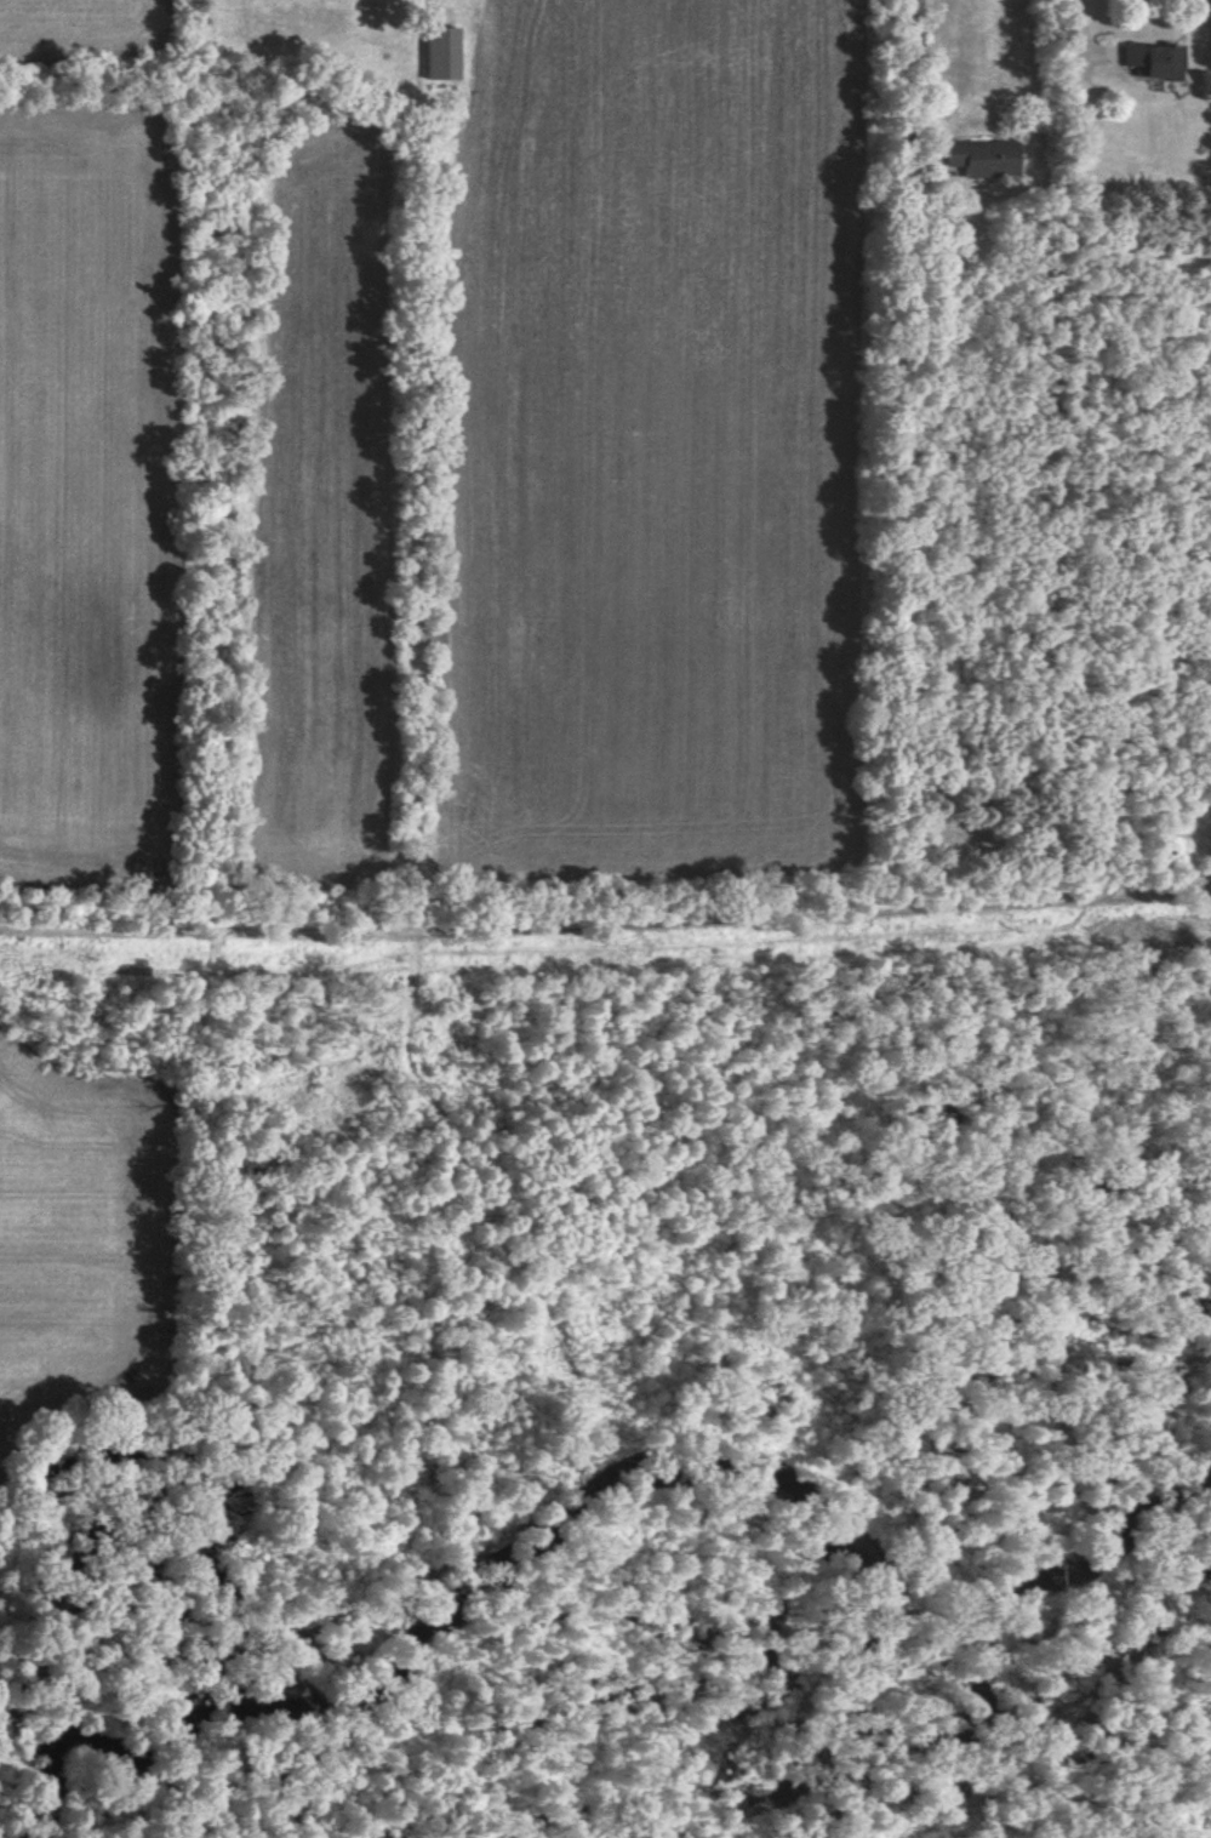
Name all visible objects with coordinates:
road: (1081, 30)
building: (440, 52)
building: (1152, 61)
road: (913, 74)
building: (981, 156)

